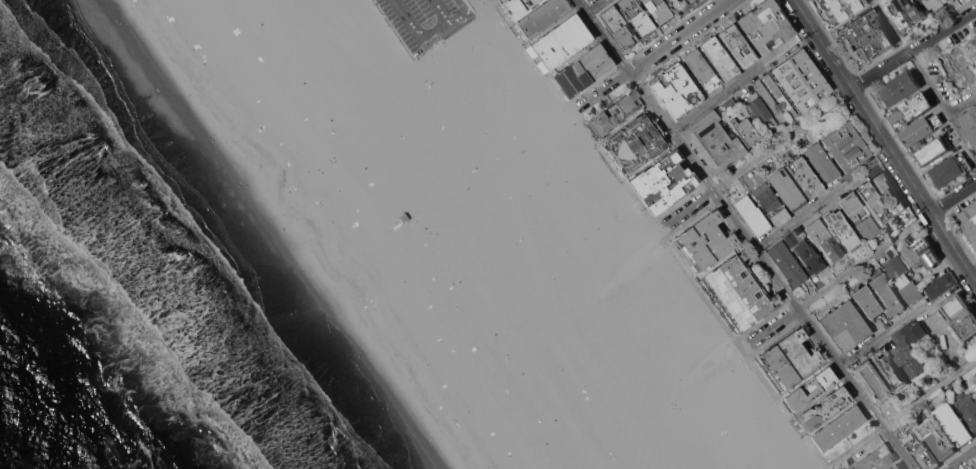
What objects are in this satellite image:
building: (588, 0)
building: (697, 1)
building: (946, 1)
building: (949, 1)
building: (935, 3)
building: (678, 5)
building: (517, 6)
road: (595, 6)
building: (840, 8)
building: (916, 9)
building: (657, 10)
road: (458, 12)
building: (899, 14)
building: (636, 16)
building: (543, 17)
parking lot: (423, 21)
building: (765, 26)
building: (618, 27)
road: (426, 33)
building: (562, 40)
building: (881, 40)
building: (737, 45)
road: (914, 47)
road: (654, 52)
building: (719, 58)
building: (583, 69)
building: (701, 69)
road: (924, 78)
road: (742, 80)
building: (801, 80)
building: (898, 89)
building: (676, 90)
building: (779, 96)
building: (771, 103)
building: (730, 105)
road: (962, 105)
building: (914, 108)
building: (974, 109)
building: (761, 113)
building: (614, 114)
building: (970, 125)
building: (921, 130)
building: (745, 131)
road: (783, 140)
road: (885, 140)
building: (635, 142)
building: (712, 143)
building: (846, 147)
building: (934, 150)
building: (821, 163)
building: (951, 169)
building: (804, 177)
building: (662, 182)
park: (537, 188)
building: (787, 189)
building: (889, 192)
road: (954, 197)
building: (771, 203)
building: (874, 203)
road: (689, 208)
building: (752, 215)
road: (803, 216)
building: (853, 216)
building: (969, 220)
park: (606, 221)
building: (383, 230)
building: (843, 230)
road: (746, 234)
building: (823, 238)
building: (703, 241)
park: (574, 242)
building: (804, 250)
building: (928, 253)
building: (911, 255)
road: (865, 260)
building: (787, 264)
building: (898, 268)
building: (941, 284)
building: (738, 291)
building: (886, 292)
building: (912, 292)
building: (868, 304)
building: (960, 315)
road: (773, 326)
building: (845, 327)
road: (892, 328)
building: (915, 331)
building: (907, 354)
building: (788, 359)
building: (888, 369)
building: (871, 381)
building: (810, 388)
building: (974, 388)
road: (929, 392)
building: (967, 406)
building: (824, 408)
building: (954, 423)
building: (838, 427)
building: (938, 438)
road: (857, 445)
building: (920, 450)
road: (961, 458)
building: (876, 459)
building: (975, 460)
park: (785, 466)
building: (896, 467)

